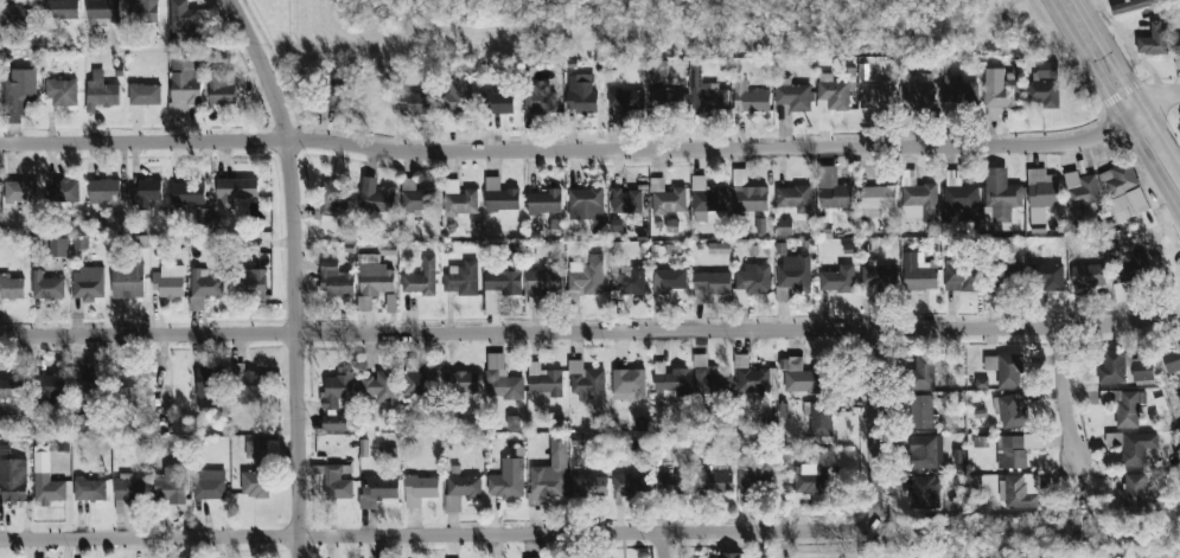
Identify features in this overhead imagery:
building: (1133, 5)
building: (60, 9)
building: (102, 9)
building: (17, 14)
building: (183, 17)
building: (1154, 40)
building: (1176, 45)
road: (1112, 54)
building: (658, 68)
building: (1046, 70)
building: (185, 81)
building: (219, 88)
building: (100, 91)
building: (958, 91)
building: (60, 92)
building: (917, 92)
building: (1042, 92)
building: (18, 94)
building: (143, 94)
building: (460, 94)
building: (580, 94)
building: (831, 94)
building: (999, 94)
road: (1160, 94)
building: (336, 95)
building: (792, 95)
building: (876, 96)
building: (538, 97)
building: (708, 97)
building: (750, 98)
building: (626, 100)
building: (413, 101)
building: (498, 101)
building: (666, 101)
road: (1114, 107)
road: (1163, 136)
road: (576, 149)
building: (1120, 178)
building: (1042, 188)
building: (1080, 188)
building: (66, 190)
building: (103, 190)
building: (235, 190)
building: (833, 190)
building: (20, 191)
building: (187, 192)
building: (143, 193)
building: (747, 193)
building: (333, 195)
building: (499, 195)
building: (1002, 195)
building: (376, 197)
building: (415, 197)
building: (958, 197)
building: (666, 198)
building: (706, 198)
building: (795, 198)
building: (459, 199)
building: (876, 199)
building: (625, 200)
building: (543, 201)
building: (919, 201)
building: (585, 204)
building: (1128, 204)
building: (203, 214)
building: (554, 226)
building: (784, 226)
building: (81, 242)
building: (58, 246)
building: (1129, 267)
road: (294, 272)
building: (918, 274)
building: (792, 275)
building: (1087, 275)
building: (375, 276)
building: (1003, 276)
building: (1046, 276)
building: (421, 277)
building: (505, 277)
building: (878, 277)
building: (959, 277)
building: (461, 278)
building: (585, 278)
building: (334, 280)
building: (668, 280)
building: (837, 280)
building: (127, 281)
building: (167, 281)
building: (251, 282)
building: (629, 282)
building: (751, 282)
building: (88, 283)
building: (205, 283)
building: (542, 284)
building: (47, 286)
building: (710, 286)
building: (11, 287)
road: (591, 329)
building: (1172, 358)
building: (1114, 366)
building: (1006, 368)
building: (1142, 370)
building: (923, 373)
building: (801, 376)
building: (709, 377)
building: (416, 379)
building: (502, 379)
building: (754, 379)
building: (89, 380)
building: (544, 380)
building: (586, 380)
building: (460, 381)
building: (627, 384)
building: (51, 385)
building: (210, 385)
building: (12, 386)
building: (247, 386)
building: (381, 386)
building: (132, 387)
building: (337, 389)
road: (1067, 395)
building: (1129, 408)
building: (1012, 410)
building: (920, 411)
building: (821, 418)
building: (6, 421)
road: (874, 424)
building: (1179, 430)
building: (1131, 445)
building: (261, 448)
building: (5, 449)
building: (1014, 450)
building: (925, 451)
building: (550, 470)
building: (754, 472)
building: (508, 479)
building: (809, 479)
building: (13, 480)
building: (46, 480)
building: (256, 481)
building: (714, 482)
building: (336, 483)
building: (672, 483)
building: (588, 485)
building: (630, 485)
building: (209, 486)
building: (128, 487)
building: (167, 487)
building: (461, 487)
building: (89, 489)
building: (420, 489)
building: (377, 490)
building: (1133, 490)
building: (923, 492)
building: (1019, 492)
road: (438, 535)
road: (664, 546)
building: (731, 554)
building: (757, 556)
road: (783, 556)

